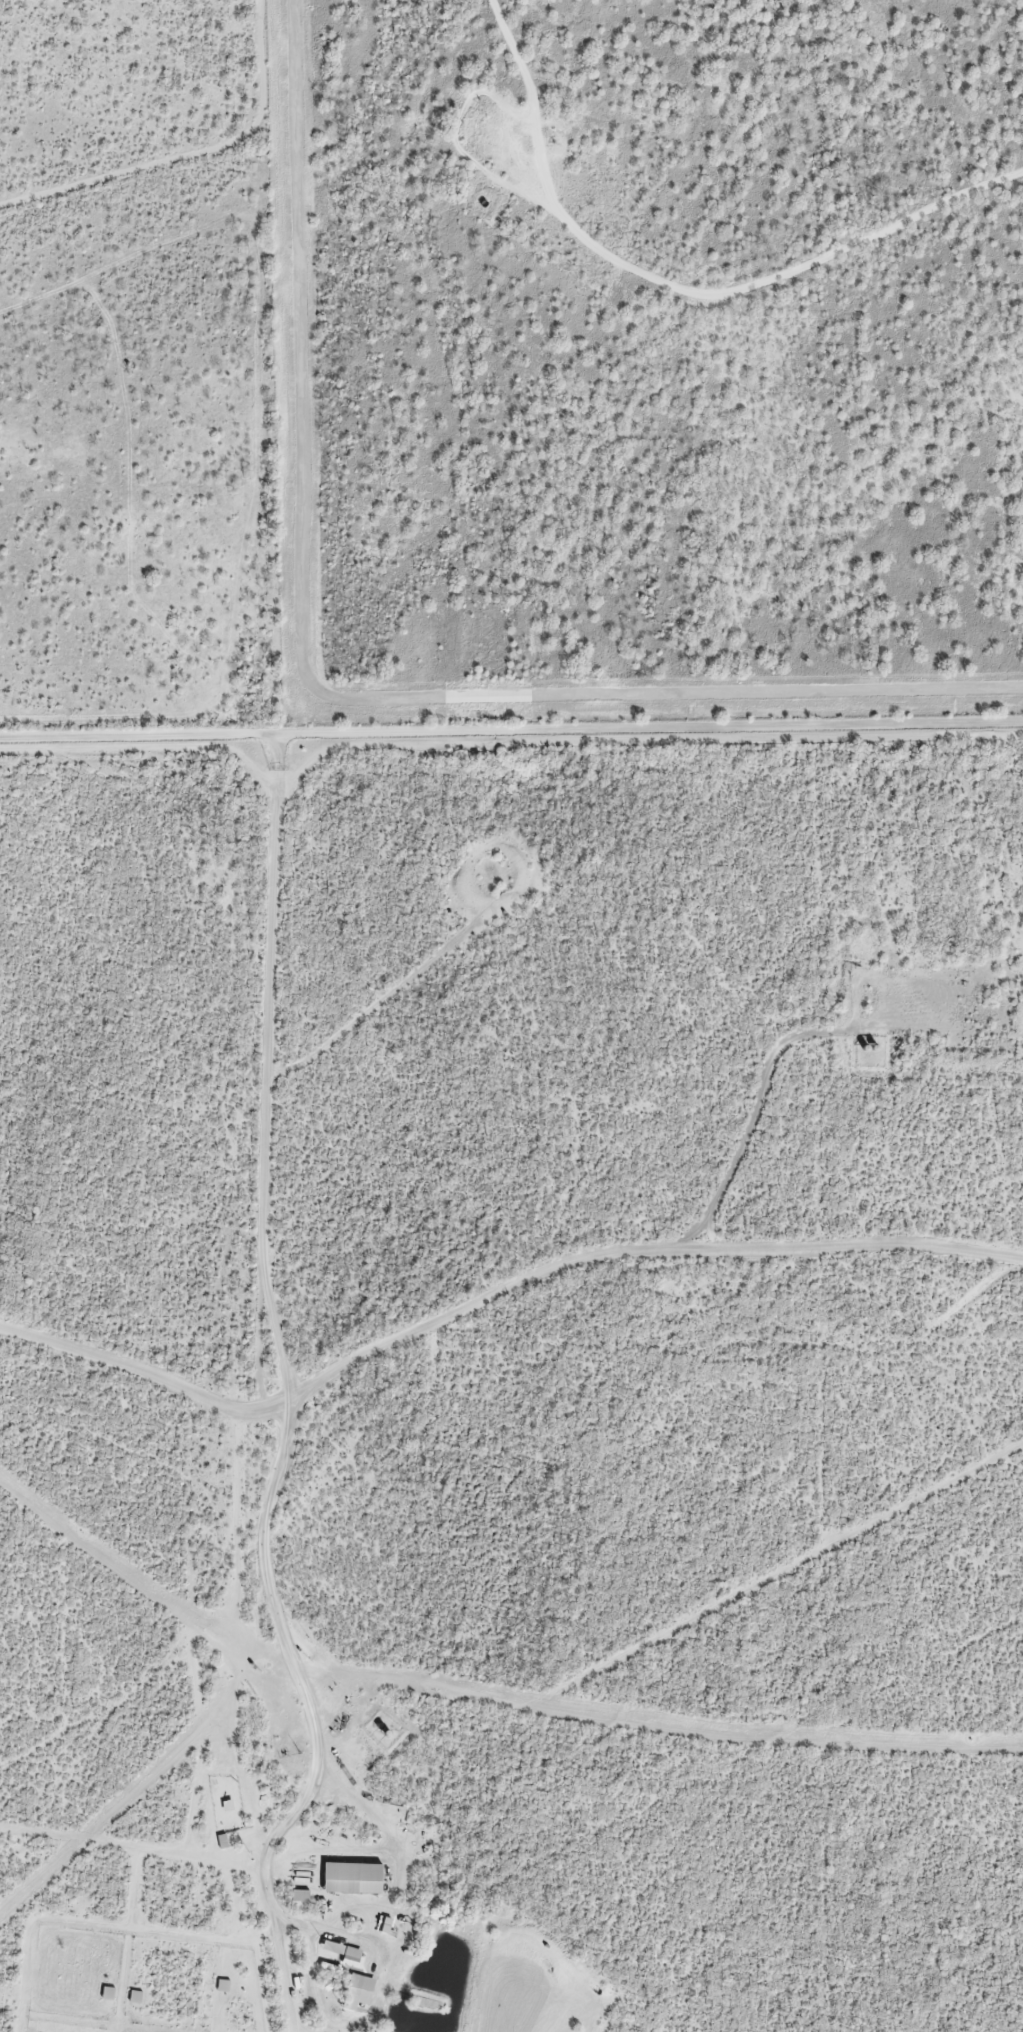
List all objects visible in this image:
road: (495, 1307)
road: (265, 1705)
building: (339, 1872)
building: (356, 1988)

